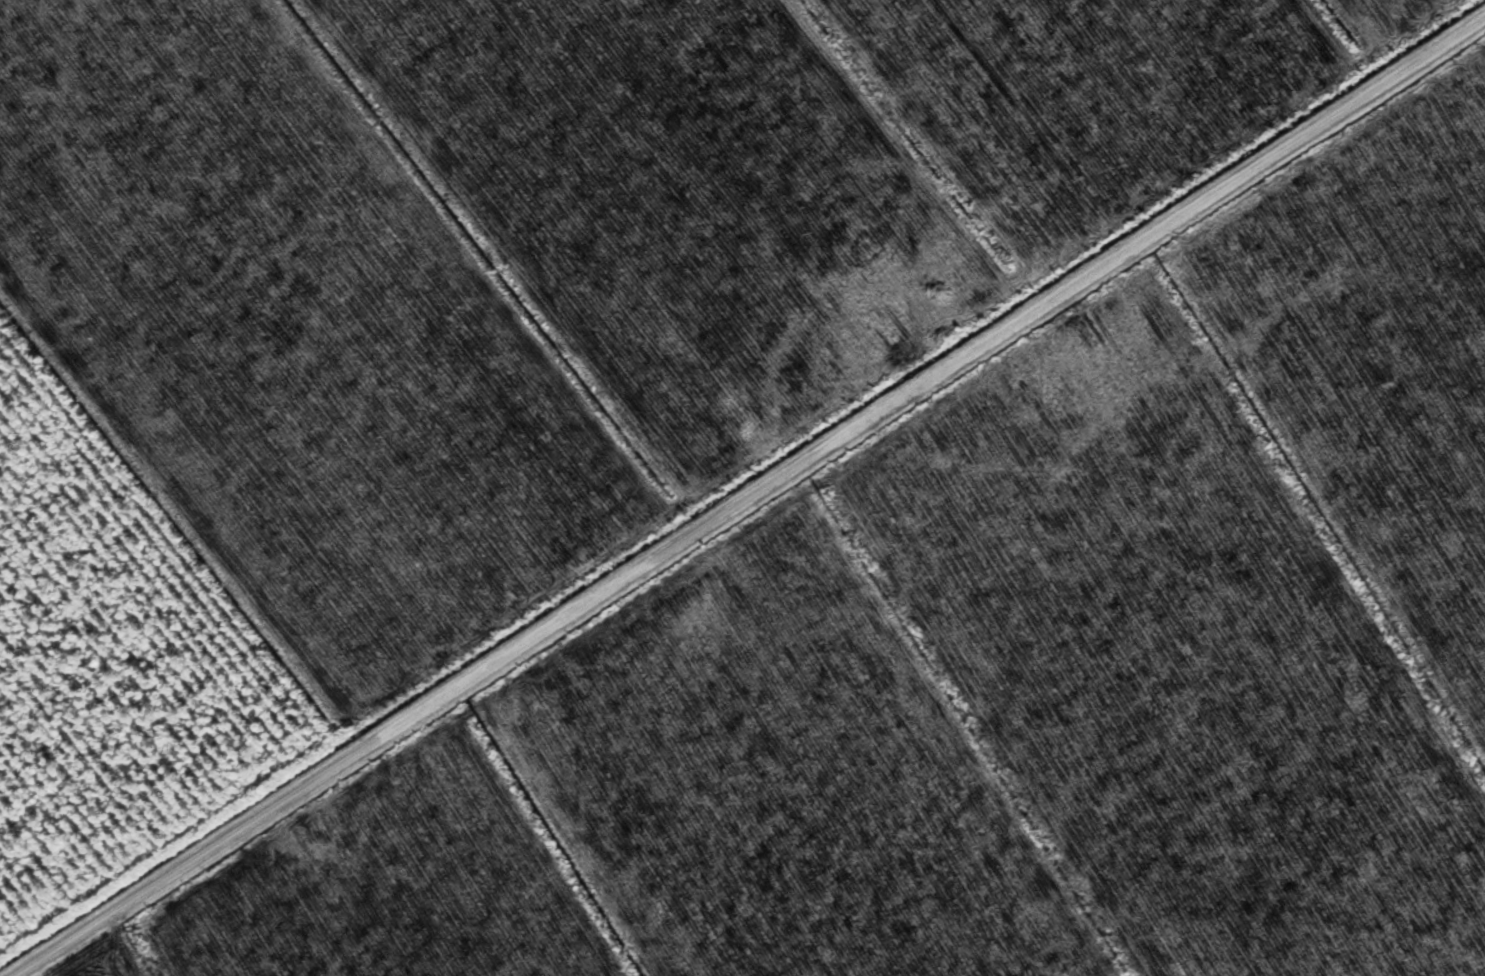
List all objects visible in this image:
road: (749, 496)

